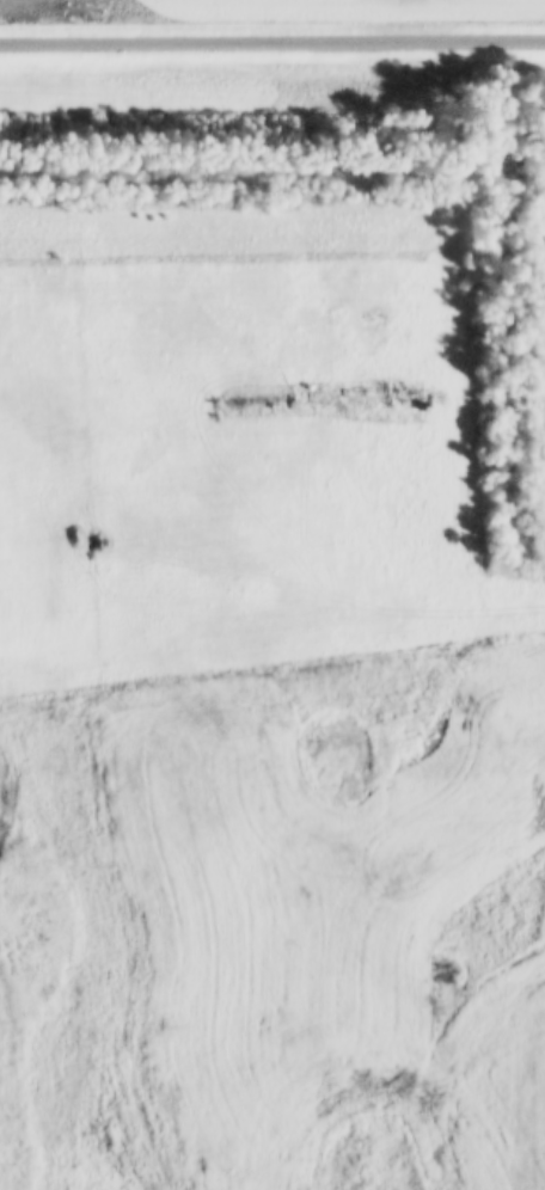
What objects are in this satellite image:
road: (271, 38)

